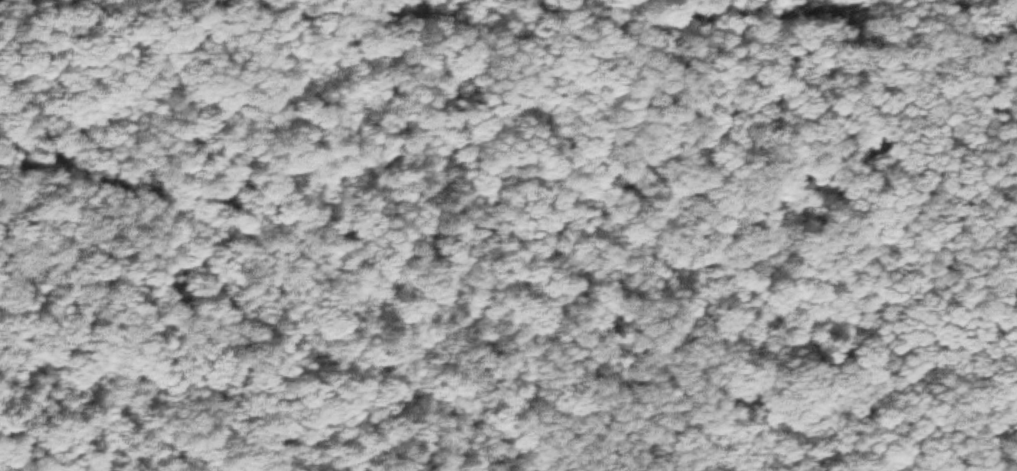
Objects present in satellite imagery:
road: (862, 7)
road: (462, 8)
road: (44, 154)
road: (44, 169)
road: (503, 237)
road: (104, 373)

